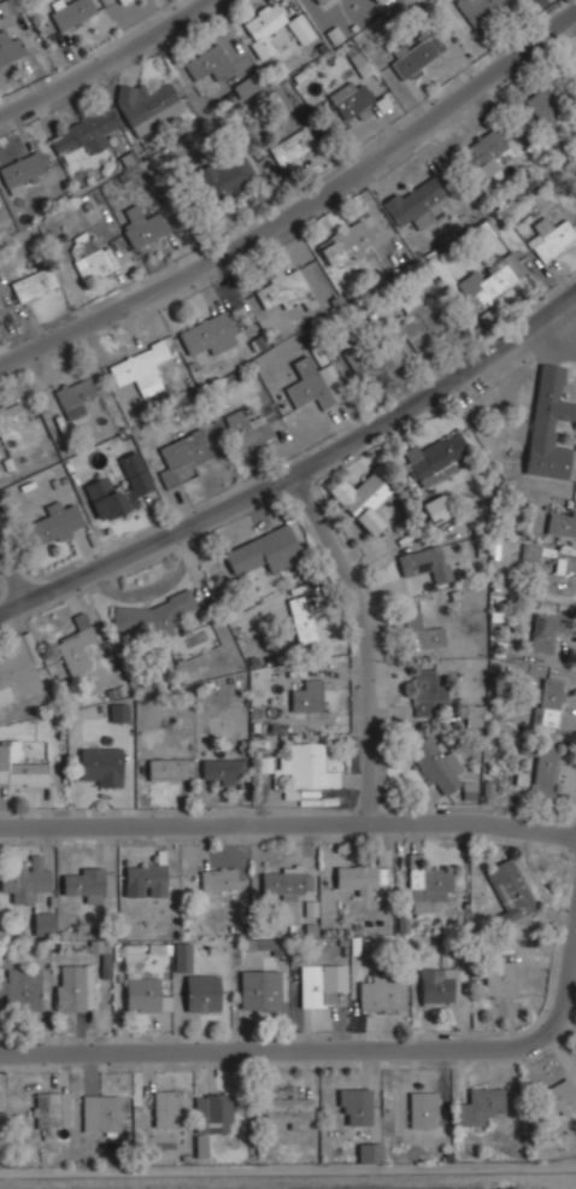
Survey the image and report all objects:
building: (123, 1)
building: (321, 2)
building: (7, 7)
building: (478, 8)
building: (70, 12)
building: (272, 28)
building: (10, 46)
building: (417, 53)
road: (105, 59)
building: (207, 63)
building: (245, 86)
building: (352, 101)
building: (148, 104)
building: (547, 106)
building: (82, 133)
building: (292, 146)
building: (486, 153)
building: (19, 172)
building: (230, 178)
building: (417, 204)
road: (300, 206)
building: (2, 218)
building: (142, 224)
building: (549, 236)
building: (345, 244)
building: (90, 258)
building: (33, 282)
building: (487, 283)
building: (283, 289)
building: (417, 321)
building: (208, 333)
building: (374, 358)
building: (140, 365)
building: (317, 382)
building: (75, 396)
building: (10, 417)
building: (549, 421)
building: (247, 427)
building: (184, 450)
building: (435, 457)
road: (299, 471)
building: (114, 494)
building: (363, 498)
building: (436, 506)
building: (562, 521)
building: (54, 523)
building: (263, 551)
building: (529, 552)
building: (424, 563)
road: (12, 575)
building: (559, 578)
building: (146, 616)
building: (301, 617)
building: (546, 631)
building: (424, 633)
road: (366, 639)
building: (77, 644)
building: (17, 670)
building: (427, 692)
building: (306, 695)
building: (547, 701)
building: (118, 711)
building: (475, 714)
building: (433, 763)
building: (102, 765)
building: (19, 766)
building: (305, 766)
building: (166, 768)
building: (221, 771)
building: (543, 773)
road: (288, 821)
building: (146, 875)
building: (217, 878)
building: (357, 878)
building: (28, 880)
building: (87, 881)
building: (284, 881)
building: (427, 885)
building: (510, 889)
building: (39, 926)
building: (265, 945)
building: (182, 956)
building: (499, 978)
building: (323, 984)
building: (437, 985)
building: (20, 986)
building: (74, 986)
building: (259, 989)
road: (565, 989)
building: (201, 992)
building: (381, 992)
building: (145, 994)
road: (269, 1053)
building: (558, 1097)
building: (354, 1103)
building: (478, 1105)
building: (163, 1106)
building: (49, 1108)
building: (422, 1108)
building: (289, 1109)
building: (102, 1114)
building: (211, 1118)
building: (369, 1152)

